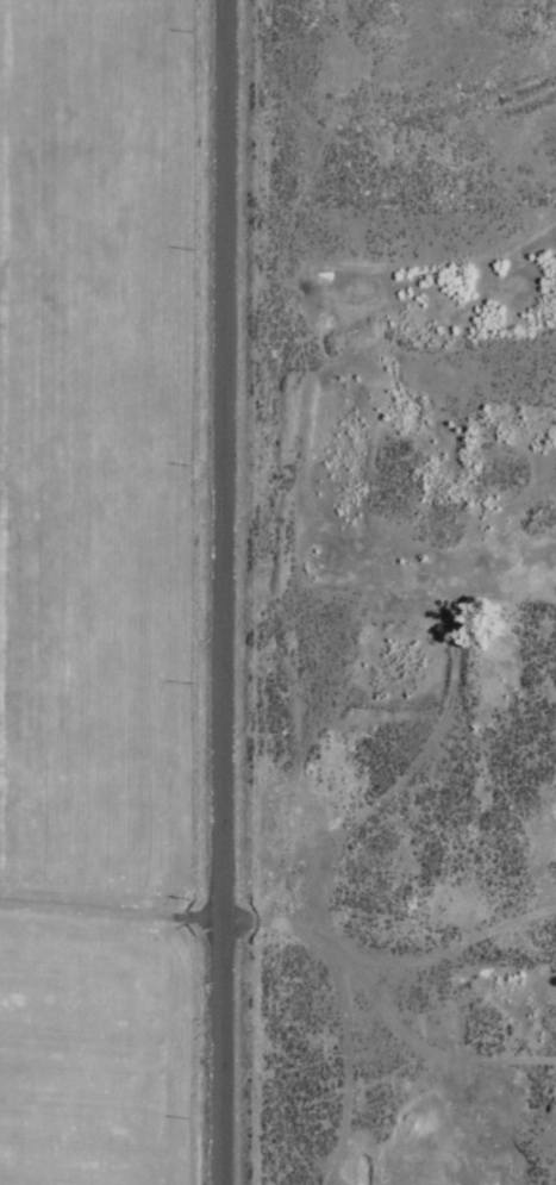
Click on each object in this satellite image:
road: (221, 592)
crop: (214, 692)
road: (380, 1011)

